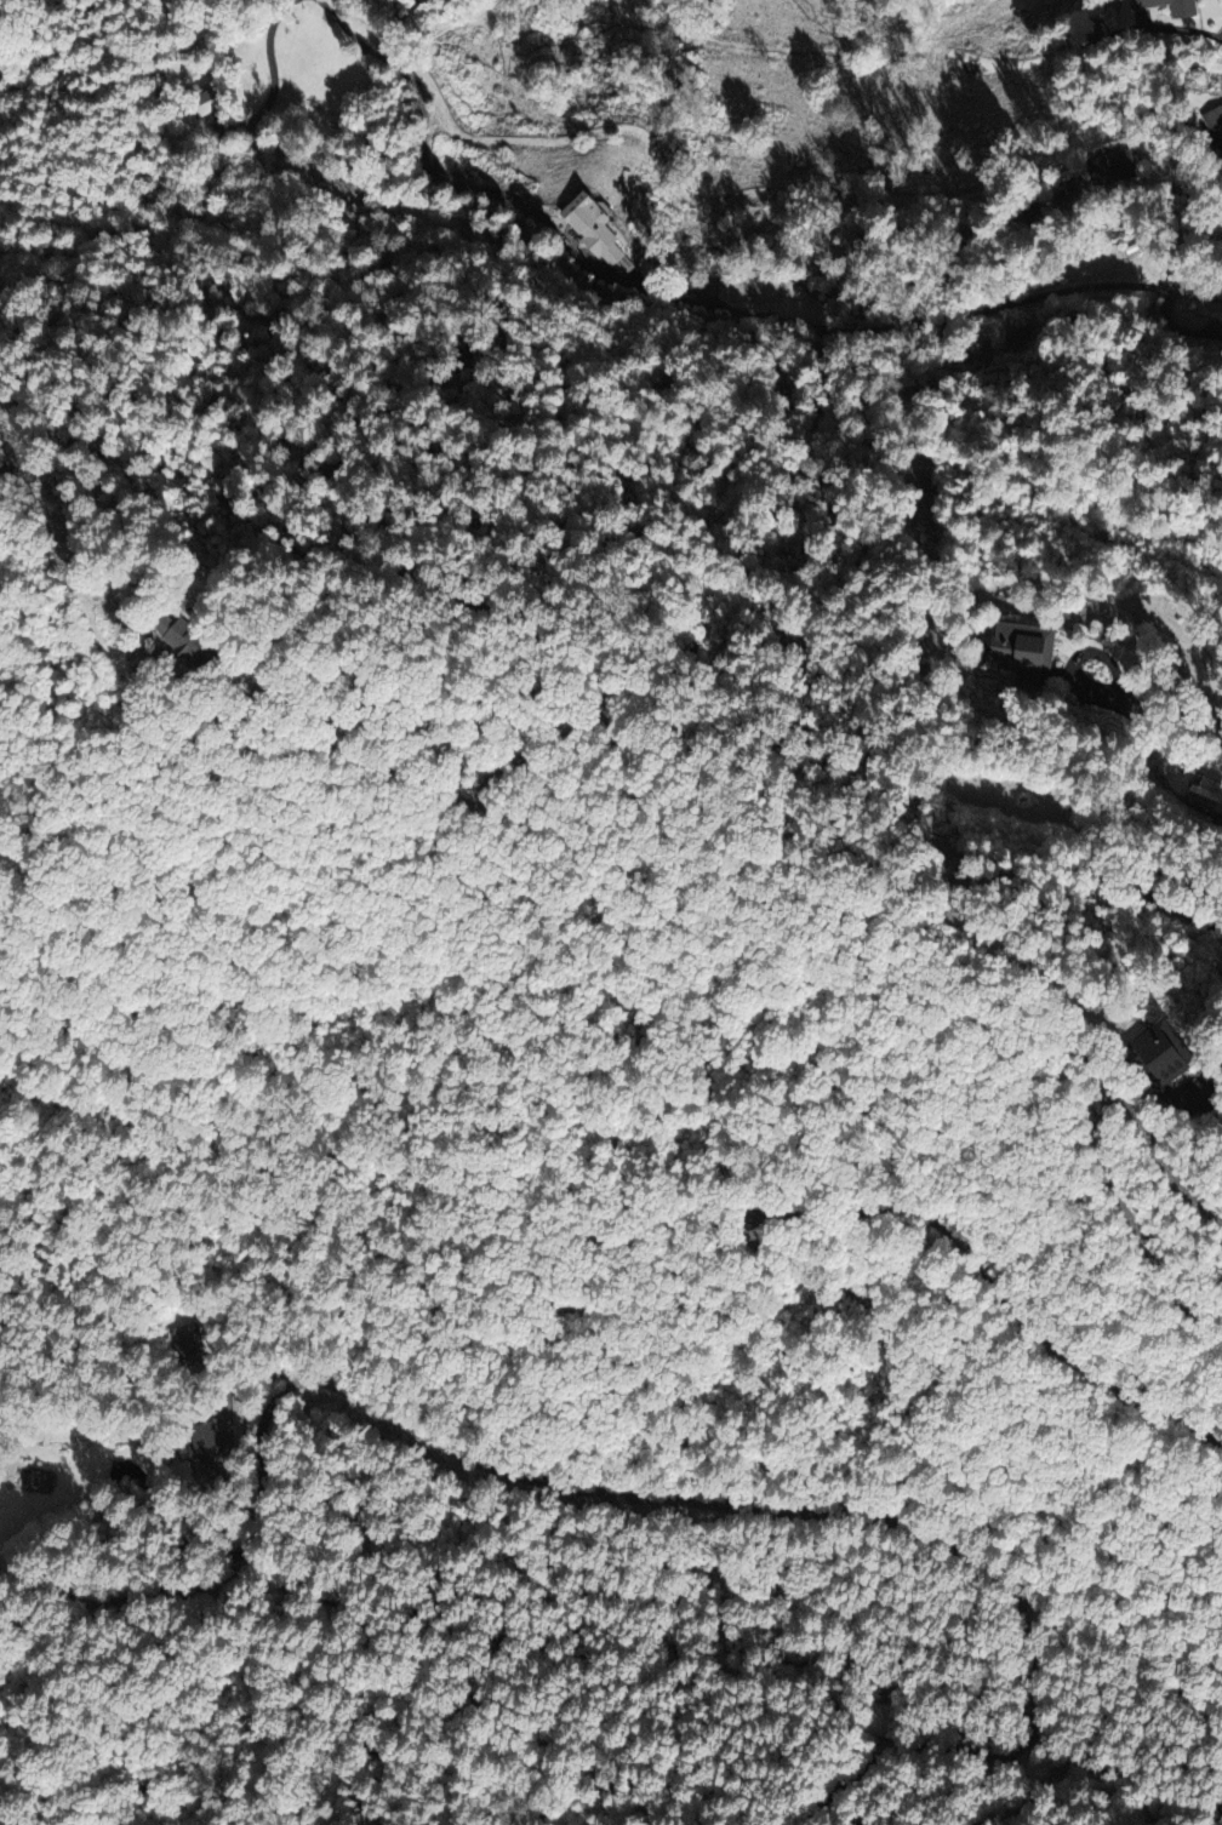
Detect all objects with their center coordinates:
building: (1180, 12)
road: (1161, 44)
building: (204, 102)
building: (1214, 125)
building: (1107, 167)
building: (589, 230)
road: (1181, 293)
building: (213, 641)
building: (1015, 650)
road: (1075, 654)
road: (440, 683)
road: (1167, 721)
building: (1205, 794)
road: (1144, 888)
road: (617, 926)
building: (1154, 1055)
road: (1210, 1088)
road: (1210, 1106)
road: (1091, 1148)
road: (995, 1289)
building: (184, 1338)
building: (202, 1438)
road: (673, 1498)
road: (986, 1754)

